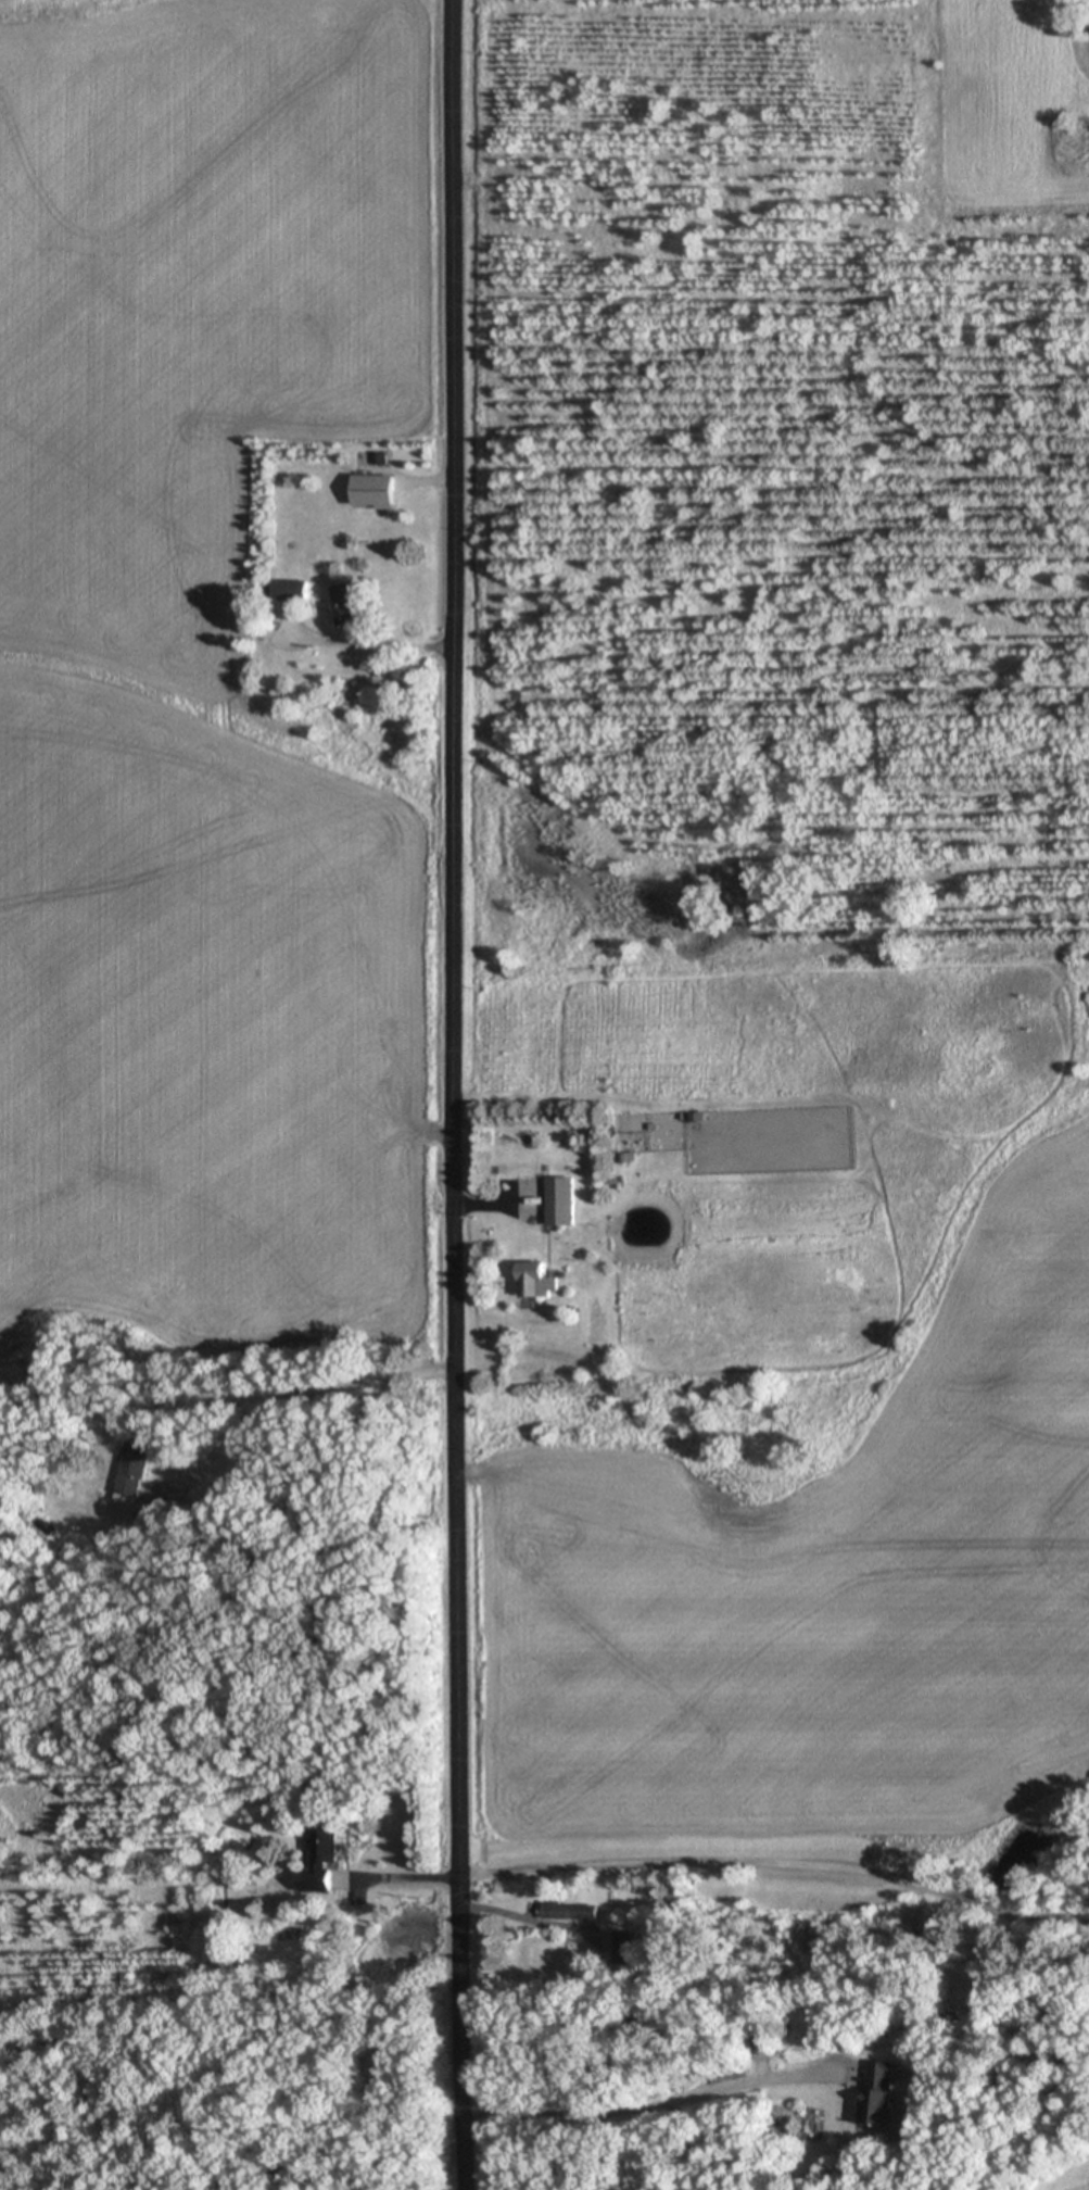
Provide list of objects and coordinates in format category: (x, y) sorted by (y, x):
building: (378, 493)
building: (296, 592)
building: (353, 606)
road: (375, 644)
road: (454, 1095)
building: (565, 1204)
road: (486, 1208)
building: (540, 1283)
road: (300, 1395)
building: (134, 1470)
road: (731, 1861)
building: (322, 1866)
building: (572, 1913)
road: (522, 1918)
building: (628, 1954)
building: (860, 2075)
building: (883, 2097)
road: (648, 2105)

